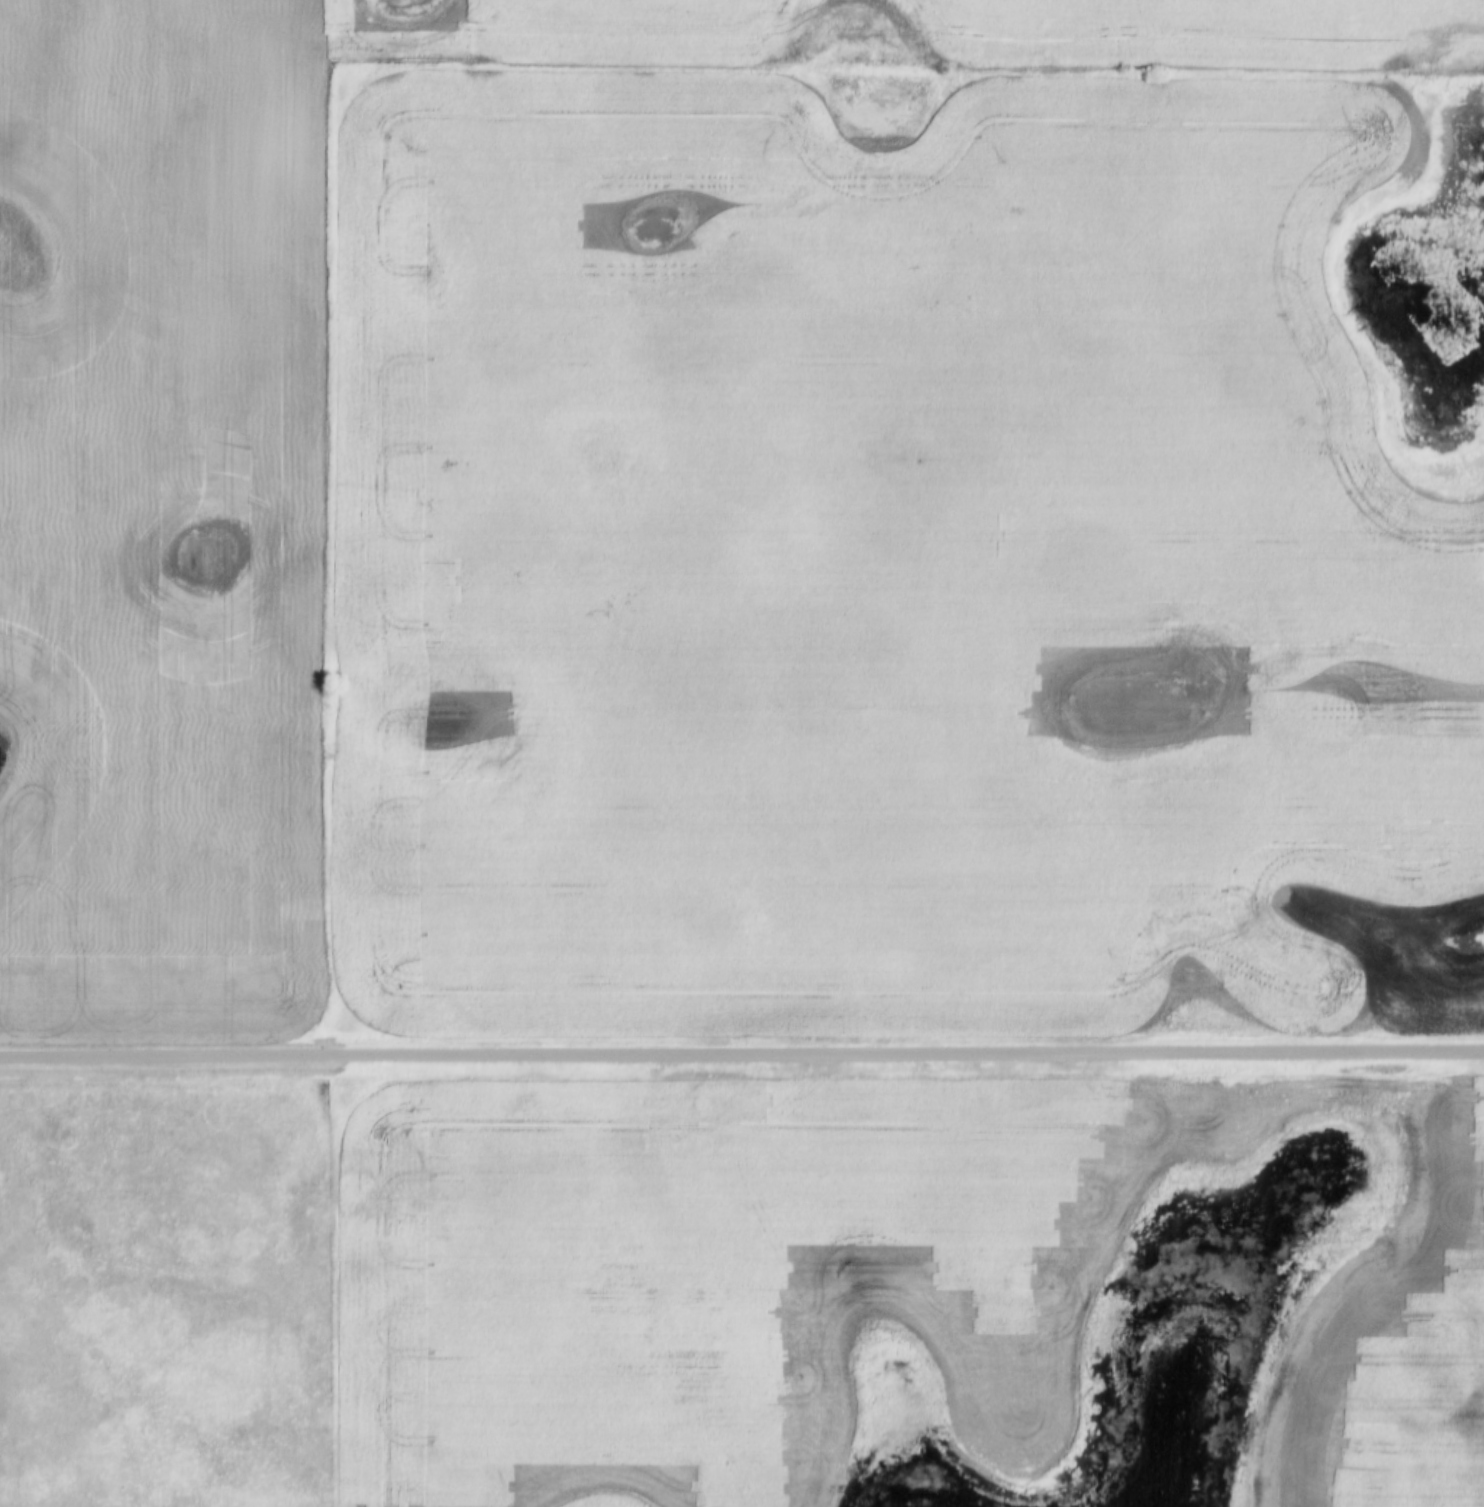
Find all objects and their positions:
road: (741, 1055)

